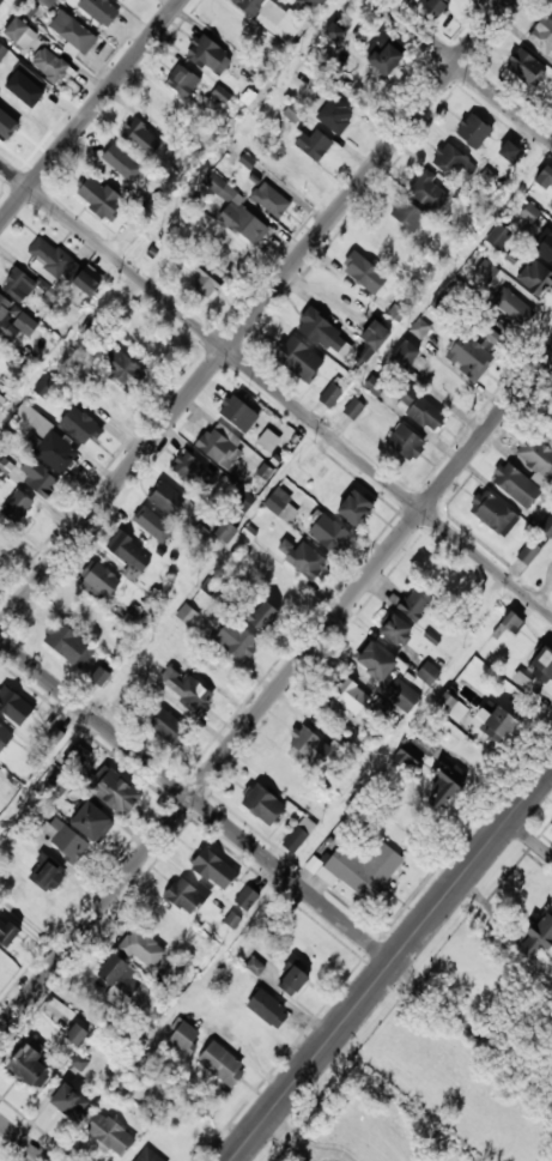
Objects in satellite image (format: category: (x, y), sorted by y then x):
building: (120, 0)
building: (125, 0)
building: (0, 1)
building: (47, 2)
building: (307, 5)
building: (433, 6)
building: (98, 10)
building: (551, 12)
building: (272, 17)
building: (334, 30)
building: (72, 32)
building: (18, 34)
building: (542, 36)
building: (2, 53)
building: (208, 56)
building: (382, 59)
building: (48, 65)
building: (524, 67)
road: (465, 71)
building: (181, 81)
building: (23, 90)
road: (91, 111)
building: (292, 114)
building: (333, 116)
building: (7, 123)
building: (472, 132)
building: (141, 139)
building: (311, 145)
building: (506, 152)
building: (448, 162)
building: (119, 165)
building: (544, 177)
building: (218, 187)
building: (426, 193)
building: (98, 199)
building: (271, 201)
building: (406, 216)
building: (241, 225)
building: (126, 234)
building: (498, 235)
building: (389, 246)
building: (50, 259)
building: (486, 267)
building: (362, 273)
building: (533, 278)
building: (204, 283)
building: (83, 284)
building: (18, 286)
building: (510, 306)
building: (399, 310)
road: (254, 313)
building: (6, 318)
building: (419, 327)
building: (323, 335)
building: (374, 335)
building: (364, 351)
building: (473, 351)
building: (402, 356)
building: (297, 361)
building: (123, 365)
building: (44, 386)
building: (374, 386)
road: (274, 388)
building: (330, 395)
building: (1, 398)
building: (418, 410)
building: (352, 411)
building: (236, 415)
building: (78, 427)
building: (267, 440)
building: (404, 443)
building: (219, 446)
building: (55, 454)
building: (535, 456)
building: (5, 465)
building: (192, 471)
building: (38, 478)
building: (514, 486)
building: (166, 498)
building: (242, 498)
building: (14, 508)
building: (279, 509)
building: (352, 509)
building: (491, 514)
building: (148, 524)
building: (225, 531)
building: (326, 534)
building: (527, 555)
building: (128, 556)
building: (301, 561)
building: (443, 578)
building: (98, 580)
building: (208, 587)
building: (413, 605)
building: (187, 613)
building: (131, 615)
building: (261, 617)
building: (510, 624)
building: (393, 633)
building: (235, 642)
building: (66, 646)
building: (374, 661)
building: (541, 664)
building: (427, 672)
building: (97, 678)
building: (184, 693)
road: (275, 693)
building: (401, 694)
building: (350, 697)
building: (16, 705)
building: (450, 706)
building: (495, 725)
building: (166, 727)
building: (54, 734)
building: (5, 737)
building: (308, 745)
building: (77, 755)
building: (407, 757)
building: (283, 773)
building: (59, 784)
building: (443, 786)
building: (119, 792)
road: (196, 800)
building: (260, 804)
building: (93, 821)
building: (298, 835)
building: (66, 839)
road: (529, 839)
building: (213, 869)
building: (360, 869)
building: (49, 873)
building: (184, 895)
building: (247, 897)
road: (505, 915)
building: (166, 924)
building: (8, 930)
building: (536, 936)
building: (133, 961)
road: (392, 963)
building: (254, 965)
building: (290, 981)
building: (266, 1009)
road: (473, 1026)
building: (75, 1033)
building: (187, 1038)
building: (31, 1064)
building: (224, 1064)
building: (72, 1101)
building: (111, 1133)
road: (295, 1138)
road: (23, 1141)
building: (148, 1155)

